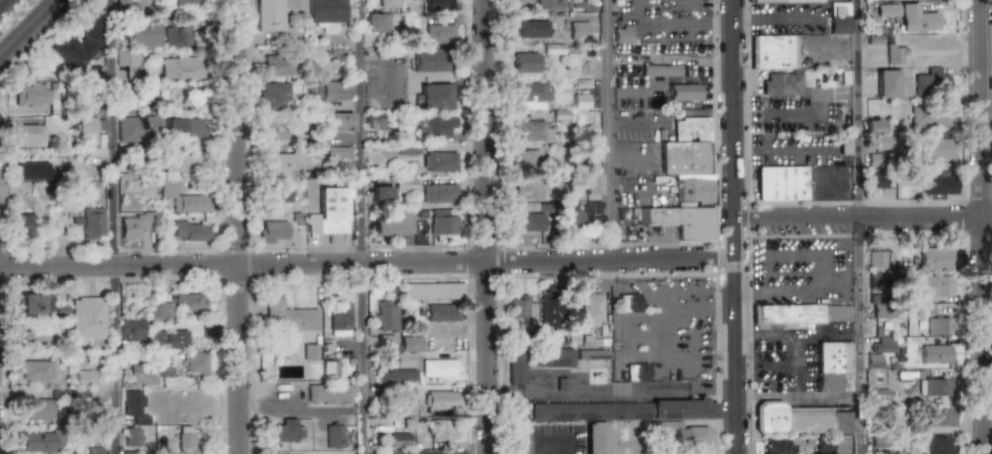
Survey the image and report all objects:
railway: (0, 0)
building: (403, 0)
building: (938, 0)
building: (521, 1)
building: (782, 1)
building: (182, 3)
building: (388, 3)
building: (441, 3)
building: (546, 4)
building: (584, 5)
building: (125, 6)
railway: (9, 9)
building: (324, 11)
building: (267, 15)
building: (911, 16)
building: (838, 18)
building: (377, 22)
road: (27, 26)
road: (670, 26)
building: (531, 28)
building: (578, 29)
building: (144, 33)
building: (438, 33)
building: (622, 34)
building: (175, 35)
building: (78, 44)
building: (774, 52)
building: (895, 53)
building: (431, 60)
building: (129, 62)
building: (525, 62)
building: (269, 63)
road: (388, 67)
building: (180, 68)
building: (660, 70)
building: (931, 79)
building: (885, 83)
building: (780, 84)
building: (329, 91)
building: (683, 92)
building: (37, 94)
building: (530, 95)
building: (273, 96)
building: (435, 97)
building: (581, 101)
road: (814, 104)
building: (930, 116)
building: (339, 120)
building: (374, 120)
road: (637, 124)
building: (91, 125)
building: (873, 125)
building: (436, 127)
building: (138, 128)
building: (184, 128)
building: (273, 129)
building: (532, 130)
road: (608, 131)
building: (29, 133)
building: (879, 141)
building: (844, 144)
building: (406, 149)
building: (936, 149)
building: (337, 152)
building: (527, 158)
building: (874, 160)
building: (439, 161)
building: (182, 162)
building: (282, 163)
building: (31, 171)
building: (686, 180)
building: (876, 181)
building: (781, 182)
building: (404, 184)
building: (591, 184)
building: (938, 184)
building: (528, 187)
road: (638, 190)
building: (436, 193)
building: (382, 196)
building: (183, 198)
building: (278, 198)
building: (333, 210)
building: (581, 213)
road: (864, 219)
building: (527, 222)
building: (92, 223)
building: (137, 223)
building: (392, 223)
building: (443, 223)
building: (24, 226)
road: (114, 226)
road: (238, 226)
road: (362, 226)
road: (487, 226)
road: (736, 226)
road: (858, 226)
road: (983, 226)
building: (191, 231)
building: (275, 231)
building: (934, 258)
building: (876, 259)
road: (368, 264)
building: (933, 285)
building: (432, 291)
road: (603, 292)
road: (764, 296)
building: (189, 301)
building: (32, 303)
building: (628, 303)
building: (519, 308)
building: (587, 308)
building: (924, 308)
building: (160, 309)
building: (58, 310)
building: (549, 310)
building: (884, 310)
building: (442, 312)
building: (385, 314)
building: (287, 316)
building: (787, 316)
building: (87, 318)
building: (340, 318)
building: (940, 326)
road: (662, 333)
building: (149, 336)
building: (34, 337)
road: (769, 337)
building: (386, 343)
building: (410, 343)
building: (880, 350)
building: (306, 352)
building: (936, 353)
building: (596, 357)
building: (403, 359)
building: (194, 362)
building: (539, 365)
building: (833, 366)
building: (439, 367)
building: (35, 370)
building: (332, 371)
building: (164, 372)
building: (637, 372)
building: (141, 374)
building: (396, 375)
building: (83, 377)
building: (937, 386)
road: (625, 390)
building: (406, 393)
building: (330, 394)
road: (798, 397)
building: (131, 398)
building: (440, 400)
building: (36, 408)
building: (627, 415)
building: (940, 415)
building: (803, 420)
building: (915, 424)
building: (443, 429)
building: (519, 429)
building: (286, 430)
building: (691, 434)
building: (334, 436)
building: (131, 437)
building: (400, 440)
building: (39, 441)
building: (601, 441)
building: (877, 441)
building: (187, 444)
road: (563, 444)
building: (779, 445)
building: (823, 445)
building: (940, 445)
building: (93, 450)
building: (880, 452)

